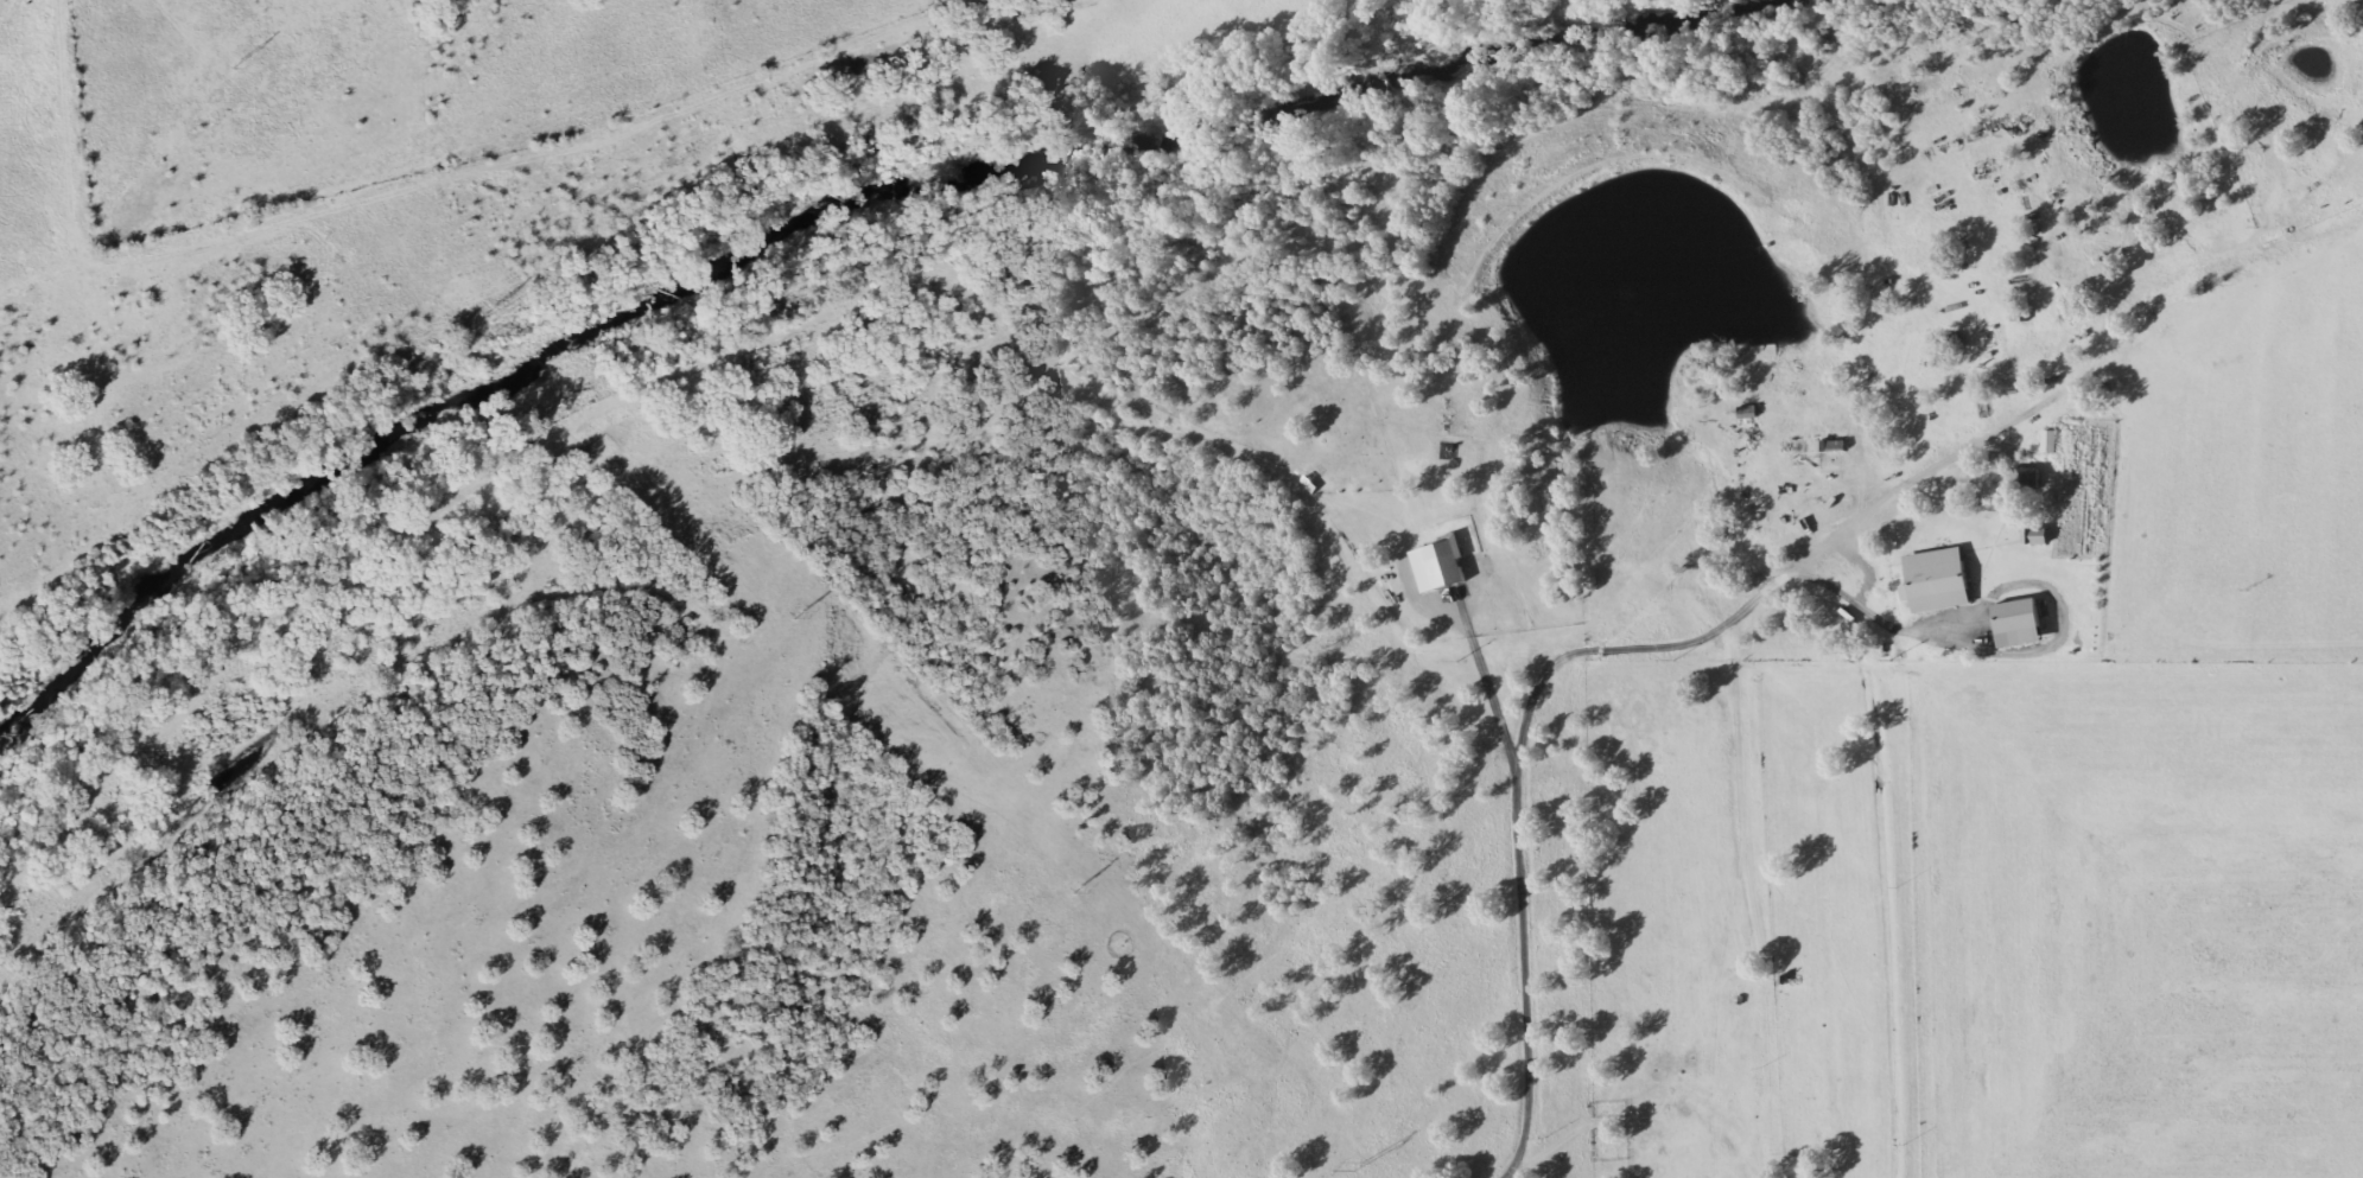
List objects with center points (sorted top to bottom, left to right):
building: (1745, 412)
building: (2046, 441)
building: (2022, 478)
building: (2032, 536)
building: (1933, 580)
building: (2014, 624)
road: (1581, 651)
road: (2048, 671)
road: (1506, 765)
road: (1742, 827)
road: (1250, 1021)
road: (1708, 1103)
building: (1795, 1167)

